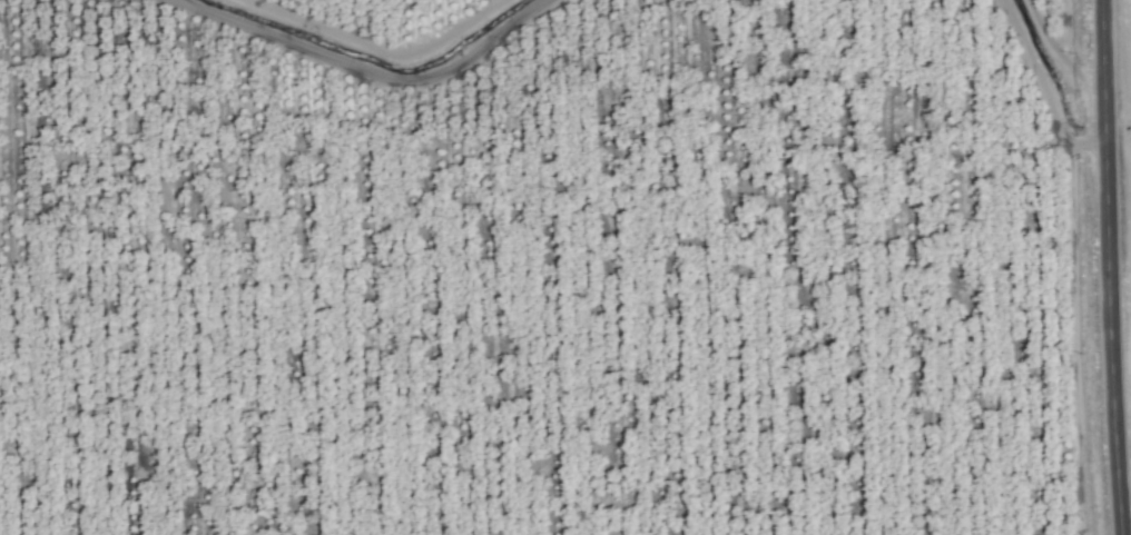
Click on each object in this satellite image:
crop: (565, 267)
road: (1114, 267)

